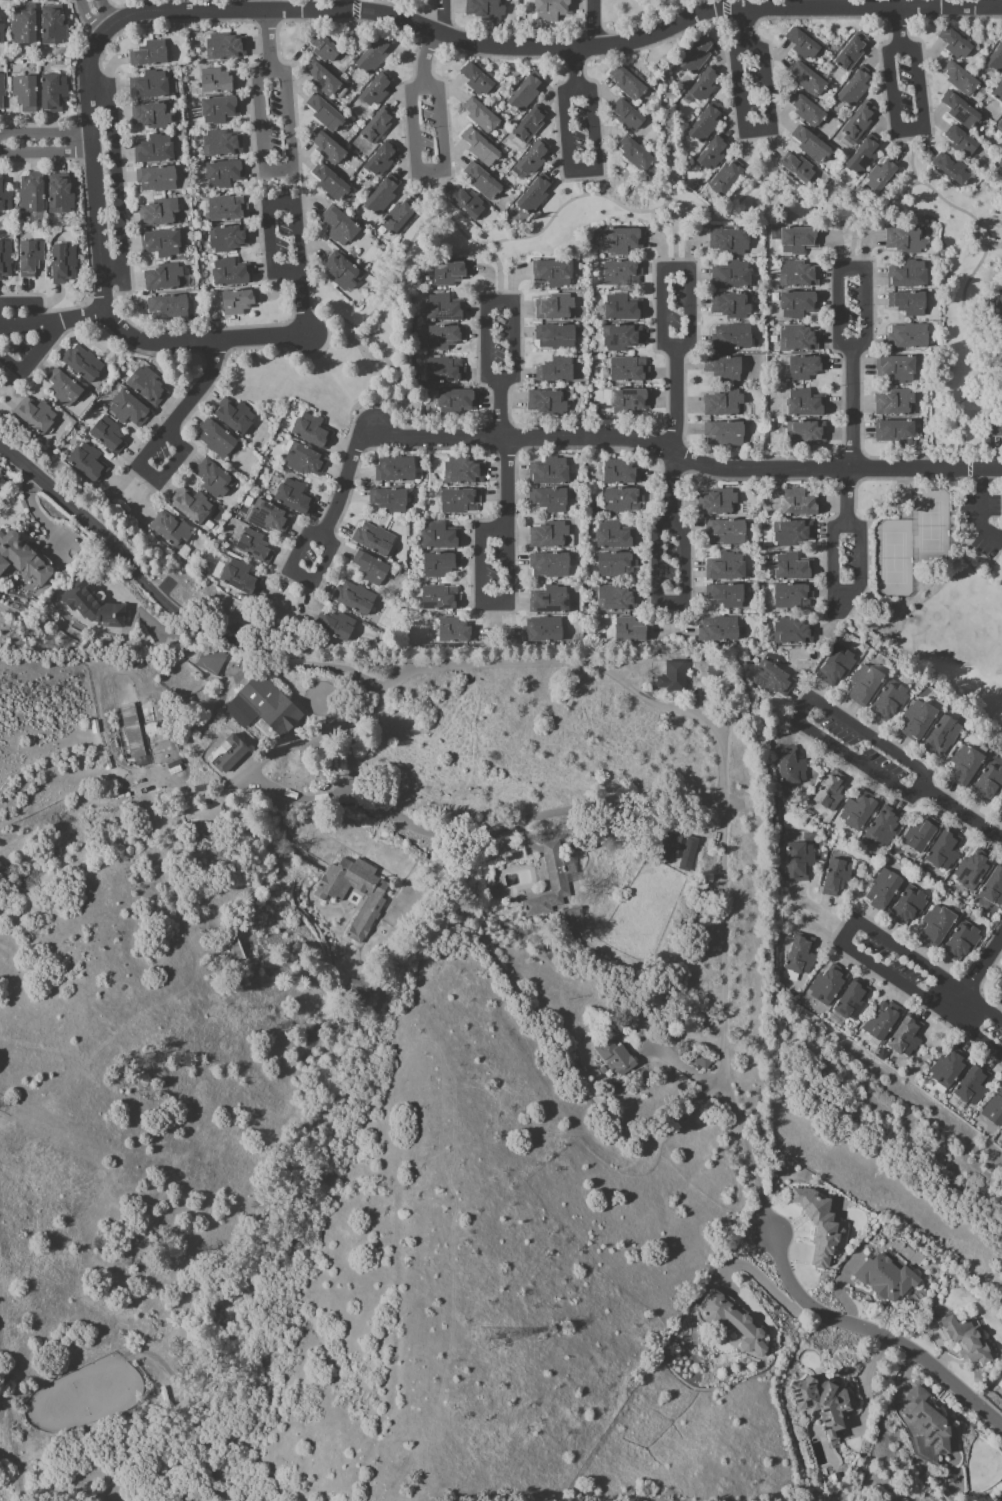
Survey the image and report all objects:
road: (248, 4)
road: (267, 4)
road: (997, 4)
road: (405, 7)
road: (817, 8)
road: (353, 9)
building: (487, 9)
road: (724, 9)
road: (999, 9)
road: (354, 10)
building: (554, 10)
road: (712, 14)
road: (984, 16)
road: (443, 18)
road: (652, 22)
road: (596, 23)
building: (26, 25)
building: (55, 26)
road: (100, 27)
building: (2, 33)
road: (519, 36)
building: (804, 45)
building: (957, 45)
building: (227, 47)
building: (325, 48)
building: (853, 53)
building: (151, 55)
building: (375, 56)
building: (699, 56)
road: (593, 57)
building: (996, 62)
building: (324, 79)
building: (478, 80)
building: (809, 80)
building: (961, 80)
building: (219, 82)
building: (629, 84)
building: (151, 86)
building: (705, 86)
road: (97, 88)
building: (856, 88)
building: (377, 91)
building: (2, 92)
building: (27, 93)
building: (527, 93)
building: (55, 94)
building: (998, 94)
building: (222, 110)
building: (808, 111)
building: (962, 111)
building: (327, 114)
building: (153, 116)
building: (483, 116)
building: (629, 116)
building: (861, 122)
building: (707, 123)
building: (531, 125)
building: (379, 126)
road: (895, 126)
building: (1000, 127)
road: (743, 129)
building: (962, 142)
road: (100, 144)
building: (224, 145)
building: (813, 145)
building: (329, 148)
building: (482, 148)
building: (156, 150)
building: (713, 154)
building: (637, 155)
road: (289, 156)
building: (864, 157)
building: (535, 159)
building: (383, 160)
road: (759, 160)
road: (912, 162)
road: (416, 163)
building: (1000, 167)
road: (568, 168)
building: (799, 169)
building: (954, 170)
building: (227, 174)
building: (881, 177)
building: (728, 179)
building: (159, 180)
building: (484, 182)
building: (332, 183)
road: (585, 186)
building: (536, 196)
building: (5, 197)
building: (384, 197)
building: (34, 198)
building: (61, 199)
road: (433, 199)
building: (469, 204)
building: (227, 208)
road: (294, 208)
road: (645, 210)
building: (161, 214)
building: (400, 217)
building: (341, 227)
road: (976, 234)
road: (676, 237)
building: (230, 239)
building: (801, 241)
building: (908, 241)
building: (624, 242)
building: (731, 242)
building: (163, 243)
road: (854, 245)
building: (32, 259)
building: (6, 260)
building: (65, 265)
building: (344, 272)
road: (501, 272)
building: (233, 273)
building: (452, 273)
building: (554, 273)
building: (624, 274)
building: (800, 275)
building: (732, 276)
building: (909, 276)
building: (168, 278)
building: (241, 302)
building: (909, 304)
building: (800, 305)
building: (999, 305)
building: (733, 306)
road: (689, 307)
building: (625, 308)
building: (170, 309)
building: (447, 309)
building: (557, 309)
road: (866, 317)
road: (515, 318)
road: (57, 323)
road: (967, 325)
road: (40, 331)
building: (909, 337)
building: (447, 338)
building: (557, 338)
building: (623, 338)
building: (733, 338)
building: (800, 340)
road: (208, 347)
road: (384, 359)
building: (84, 364)
building: (807, 368)
building: (725, 369)
building: (898, 369)
building: (447, 371)
building: (631, 371)
building: (557, 372)
building: (149, 387)
building: (66, 389)
building: (631, 402)
building: (550, 403)
building: (458, 404)
building: (897, 404)
building: (726, 405)
building: (807, 405)
building: (131, 410)
building: (37, 416)
building: (236, 417)
road: (953, 419)
building: (996, 430)
building: (314, 432)
building: (726, 434)
building: (897, 434)
building: (808, 435)
building: (110, 436)
building: (218, 440)
road: (151, 449)
road: (681, 458)
building: (307, 461)
building: (90, 464)
building: (397, 470)
building: (464, 472)
building: (622, 472)
building: (551, 473)
building: (215, 480)
road: (846, 498)
building: (297, 499)
building: (552, 500)
building: (391, 501)
building: (625, 501)
building: (462, 502)
building: (724, 502)
building: (801, 504)
building: (193, 506)
road: (979, 512)
building: (271, 518)
park: (929, 529)
building: (173, 531)
building: (731, 531)
building: (795, 534)
building: (551, 536)
building: (617, 536)
building: (442, 538)
building: (376, 540)
road: (331, 543)
building: (256, 547)
road: (123, 557)
building: (23, 560)
park: (892, 560)
road: (832, 562)
road: (858, 562)
building: (442, 565)
building: (618, 565)
building: (552, 566)
building: (795, 567)
building: (727, 568)
building: (373, 569)
building: (242, 579)
road: (681, 584)
road: (508, 591)
building: (728, 596)
building: (795, 597)
building: (356, 599)
building: (442, 599)
building: (619, 600)
building: (551, 601)
building: (94, 606)
building: (338, 626)
building: (720, 630)
building: (544, 631)
building: (633, 631)
building: (457, 632)
building: (794, 633)
building: (214, 660)
building: (838, 667)
road: (416, 671)
building: (717, 673)
building: (675, 678)
building: (774, 680)
building: (867, 686)
building: (891, 702)
road: (788, 707)
road: (800, 707)
building: (265, 708)
building: (919, 721)
building: (137, 732)
building: (944, 737)
building: (234, 754)
building: (792, 767)
building: (966, 767)
building: (989, 783)
building: (832, 793)
building: (1001, 796)
building: (860, 811)
building: (1000, 811)
road: (961, 815)
road: (509, 824)
building: (885, 828)
building: (922, 836)
building: (666, 846)
building: (946, 851)
building: (685, 852)
building: (517, 858)
building: (801, 862)
building: (974, 871)
building: (838, 877)
building: (553, 883)
building: (994, 889)
building: (885, 891)
building: (377, 902)
road: (725, 907)
building: (909, 907)
road: (816, 910)
building: (575, 914)
building: (939, 925)
road: (835, 930)
road: (847, 930)
road: (818, 931)
building: (963, 943)
building: (236, 952)
building: (803, 955)
road: (979, 971)
road: (980, 982)
building: (360, 986)
building: (829, 986)
building: (1000, 986)
building: (855, 1002)
road: (961, 1015)
building: (883, 1021)
building: (908, 1037)
building: (618, 1058)
building: (704, 1062)
building: (950, 1069)
road: (683, 1070)
building: (974, 1086)
building: (995, 1111)
building: (821, 1226)
road: (796, 1252)
road: (759, 1278)
building: (888, 1279)
road: (837, 1287)
building: (736, 1322)
road: (870, 1331)
power tower: (482, 1338)
building: (967, 1340)
road: (939, 1348)
road: (905, 1372)
building: (822, 1401)
building: (928, 1422)

